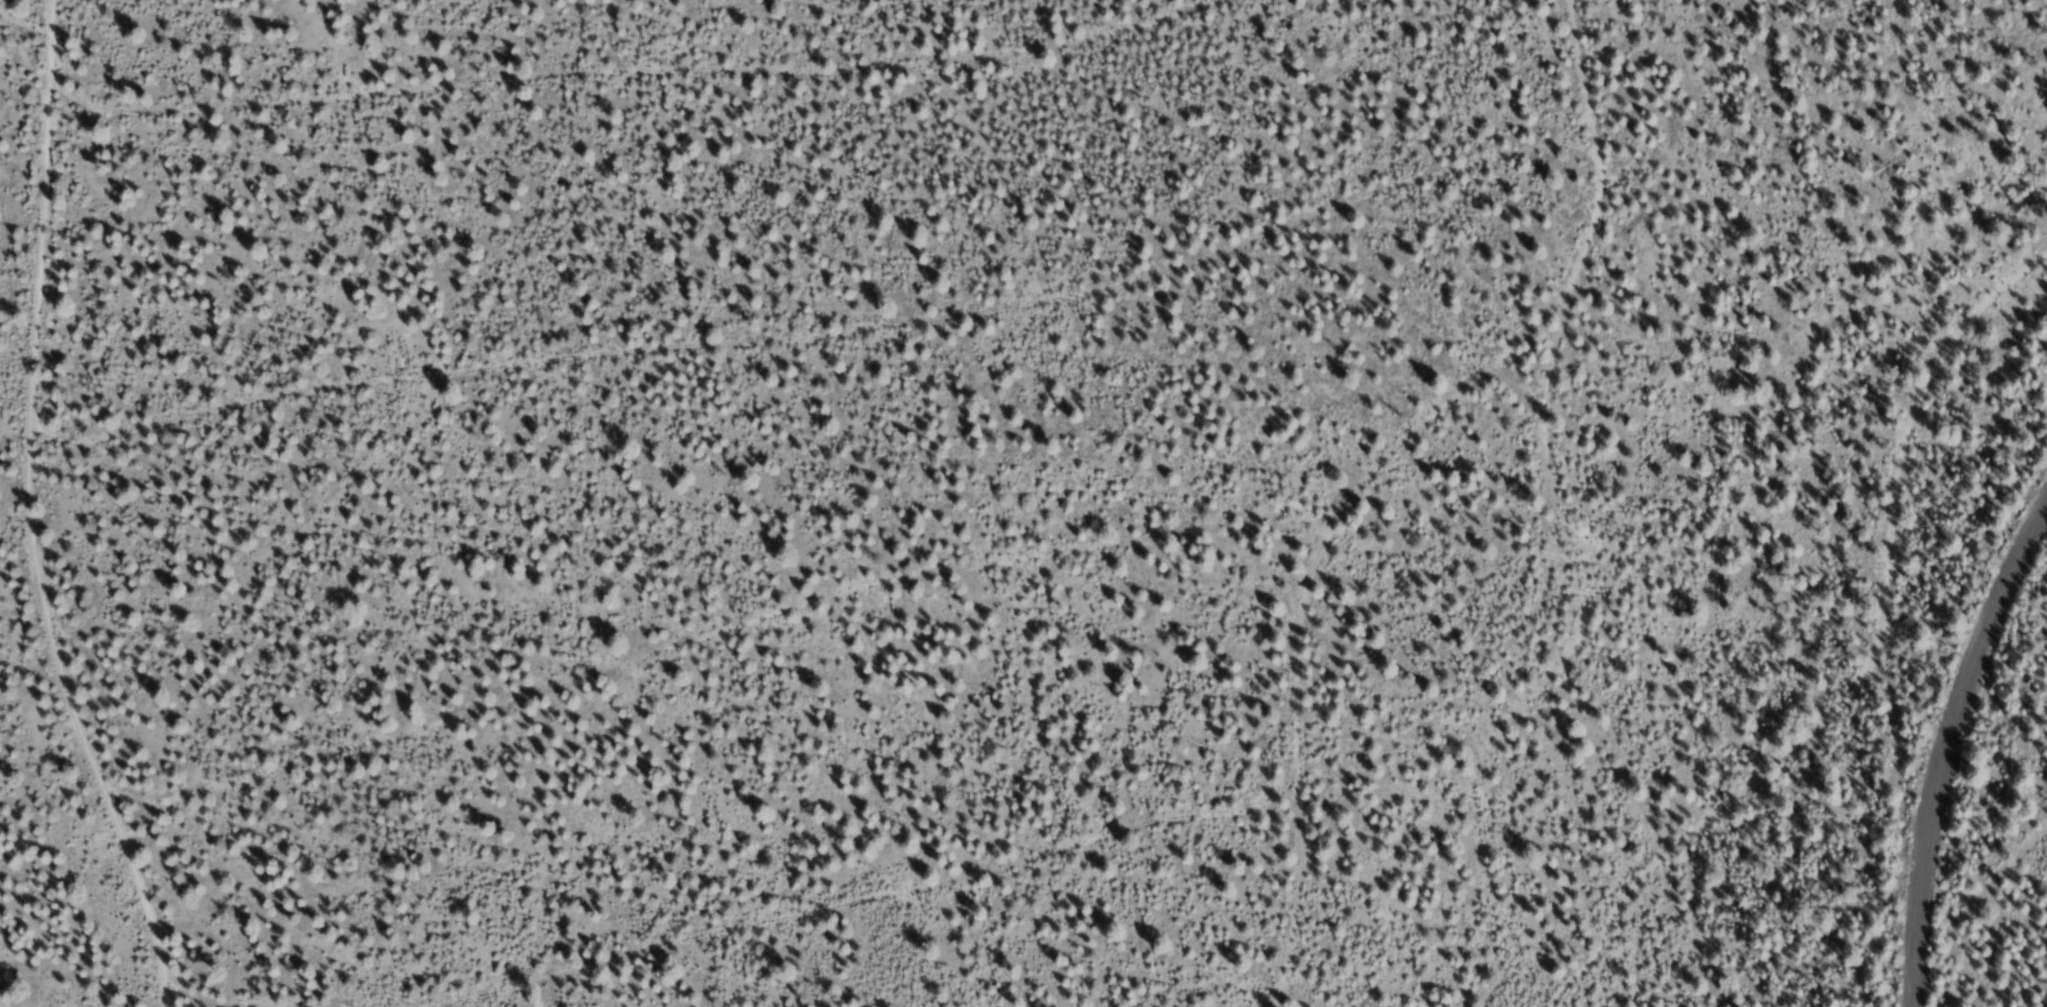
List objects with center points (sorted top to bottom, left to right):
road: (715, 66)
road: (870, 310)
road: (83, 516)
road: (1628, 528)
road: (1302, 593)
road: (747, 637)
road: (1873, 655)
road: (1943, 746)
road: (941, 906)
road: (15, 980)

